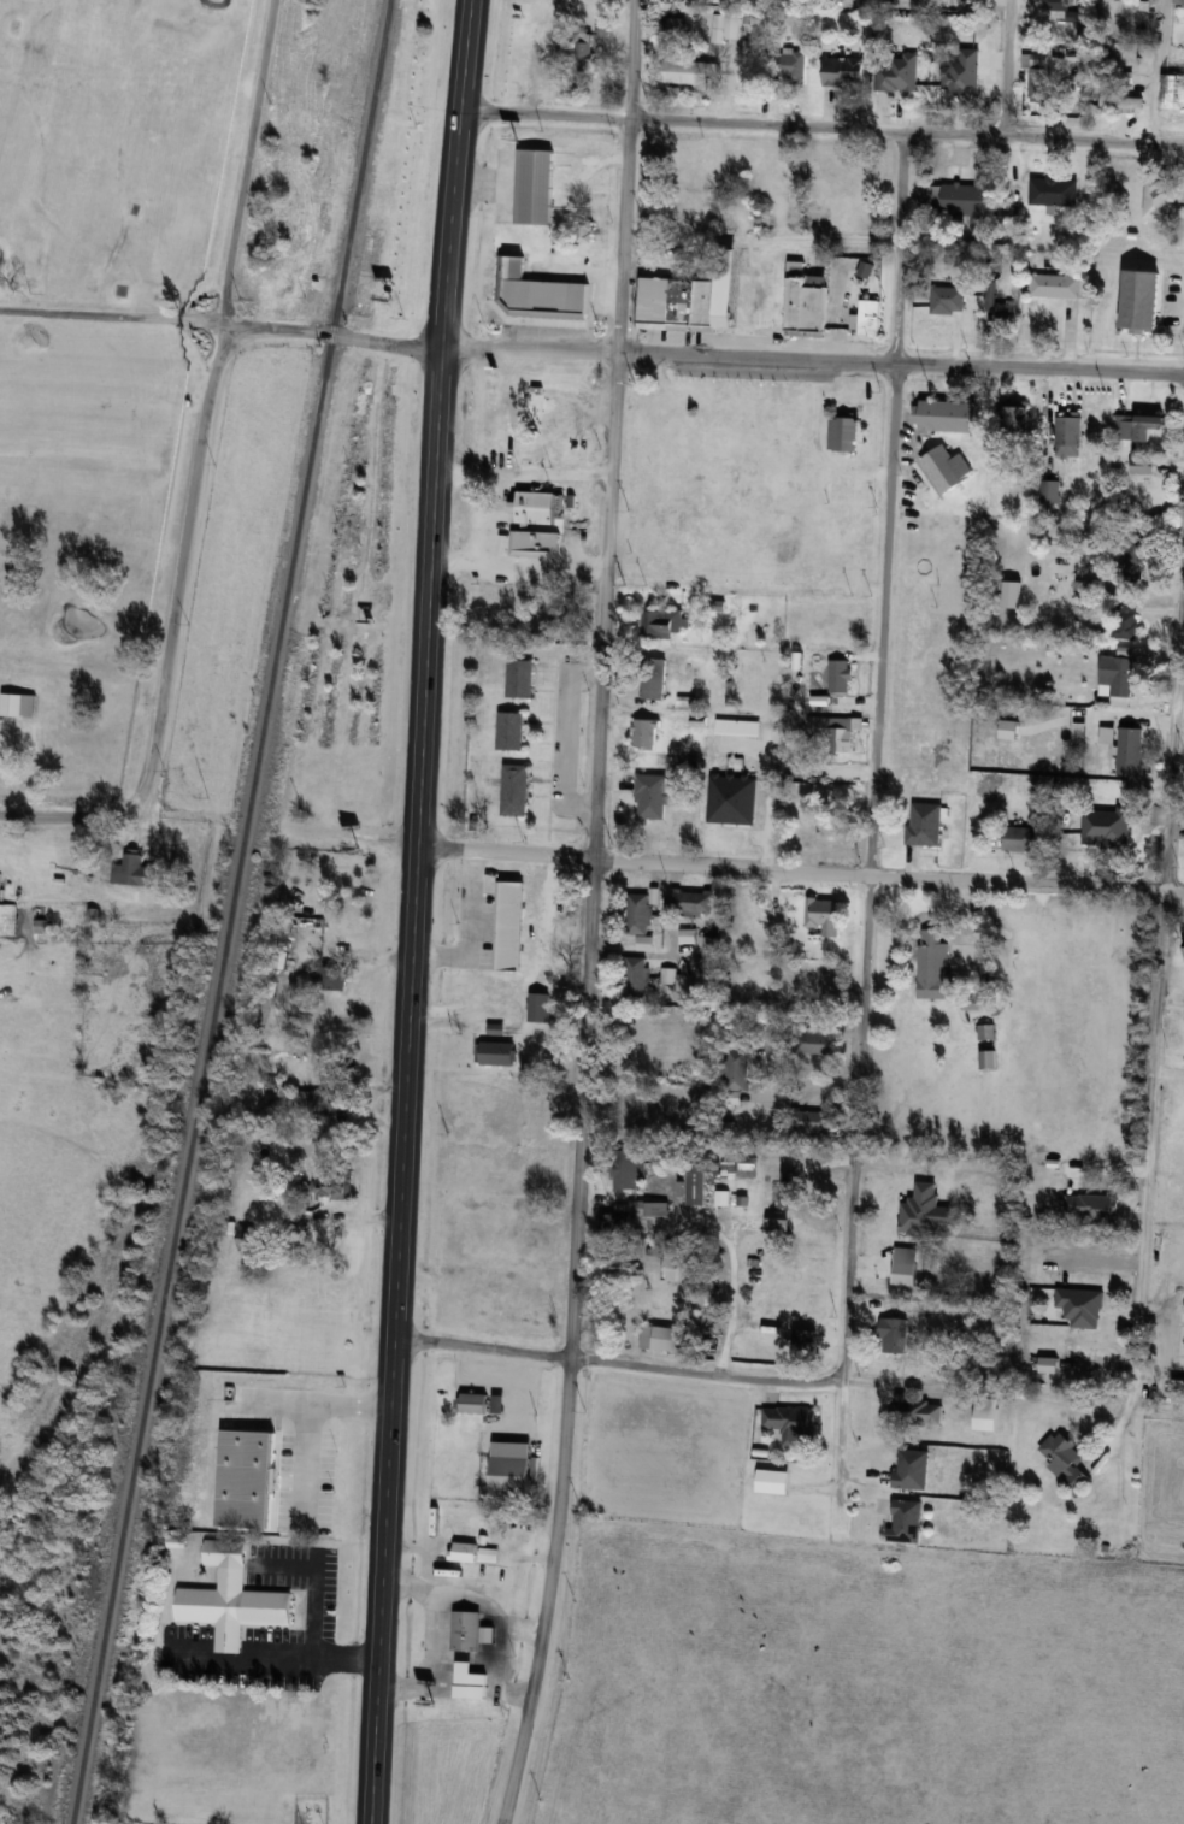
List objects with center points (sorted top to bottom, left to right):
building: (1124, 0)
building: (1180, 5)
building: (1076, 19)
building: (731, 25)
building: (575, 53)
building: (790, 67)
road: (1006, 67)
road: (1161, 71)
building: (685, 72)
building: (843, 72)
building: (1036, 77)
building: (1176, 87)
building: (912, 90)
building: (1121, 104)
road: (821, 128)
road: (454, 173)
building: (534, 187)
building: (1053, 191)
building: (1159, 197)
building: (959, 202)
building: (584, 231)
building: (1055, 285)
building: (537, 293)
building: (693, 295)
building: (947, 299)
building: (1141, 301)
building: (806, 302)
building: (1003, 313)
road: (110, 315)
building: (868, 315)
road: (700, 352)
road: (204, 409)
building: (546, 414)
building: (946, 414)
road: (466, 417)
building: (1138, 425)
building: (1012, 429)
building: (843, 430)
building: (1068, 435)
building: (1142, 464)
road: (463, 465)
building: (946, 467)
road: (552, 468)
road: (489, 477)
building: (1050, 491)
road: (886, 502)
building: (536, 506)
building: (1135, 556)
road: (541, 569)
building: (1126, 621)
building: (662, 622)
building: (1118, 674)
building: (840, 675)
building: (519, 678)
building: (652, 678)
building: (17, 704)
road: (1174, 712)
building: (737, 726)
road: (560, 728)
building: (1008, 728)
building: (509, 731)
building: (644, 733)
building: (840, 738)
building: (2, 744)
building: (1130, 750)
building: (514, 790)
building: (652, 796)
building: (731, 799)
road: (63, 817)
building: (924, 824)
building: (838, 832)
building: (1024, 838)
road: (797, 867)
building: (131, 870)
building: (693, 899)
railway: (224, 911)
building: (638, 913)
road: (584, 914)
building: (825, 915)
building: (7, 919)
building: (354, 919)
building: (708, 944)
building: (933, 966)
building: (666, 975)
building: (635, 976)
building: (331, 978)
building: (683, 982)
building: (537, 1007)
building: (818, 1043)
building: (495, 1053)
building: (986, 1058)
building: (736, 1069)
road: (801, 1085)
road: (400, 1086)
building: (324, 1102)
building: (812, 1122)
road: (852, 1123)
road: (1147, 1146)
building: (747, 1163)
building: (726, 1169)
building: (629, 1171)
building: (695, 1181)
building: (331, 1186)
building: (785, 1188)
building: (631, 1212)
building: (243, 1236)
building: (897, 1244)
building: (620, 1265)
building: (668, 1267)
building: (1080, 1306)
building: (502, 1314)
building: (894, 1334)
building: (662, 1336)
building: (803, 1342)
road: (611, 1357)
building: (1178, 1387)
building: (473, 1401)
road: (313, 1403)
building: (497, 1403)
building: (917, 1410)
building: (984, 1413)
building: (789, 1423)
road: (837, 1436)
building: (1064, 1459)
road: (307, 1464)
building: (912, 1468)
building: (511, 1475)
building: (772, 1481)
building: (905, 1519)
building: (463, 1552)
road: (314, 1574)
building: (497, 1581)
building: (225, 1590)
parking lot: (260, 1621)
building: (466, 1630)
road: (435, 1635)
road: (342, 1651)
road: (234, 1660)
road: (505, 1660)
parking lot: (165, 1820)

